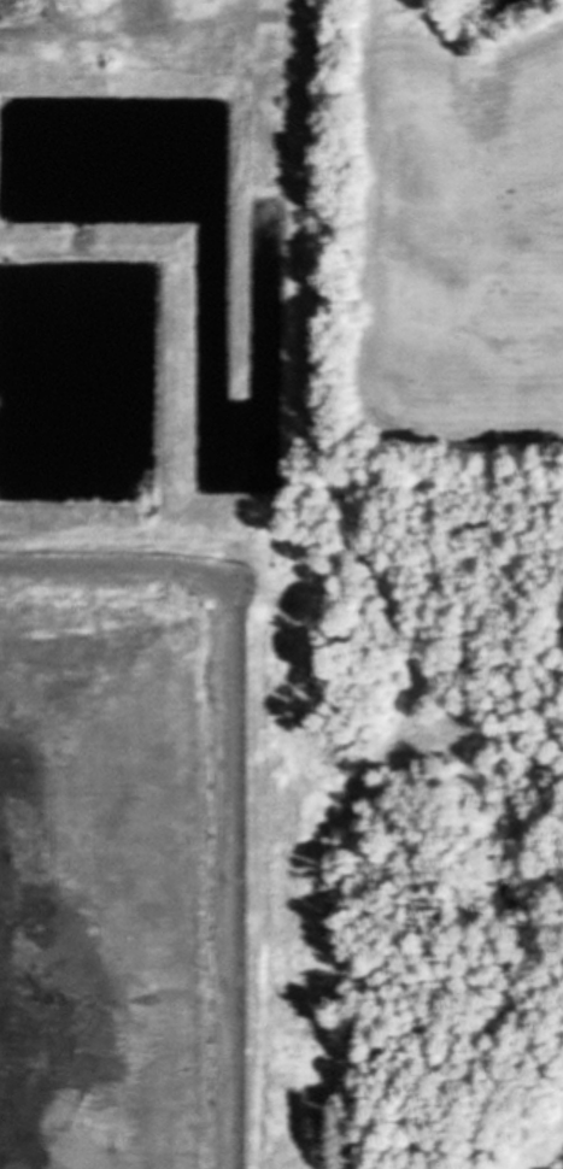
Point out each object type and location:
road: (295, 400)
landfill: (251, 650)

